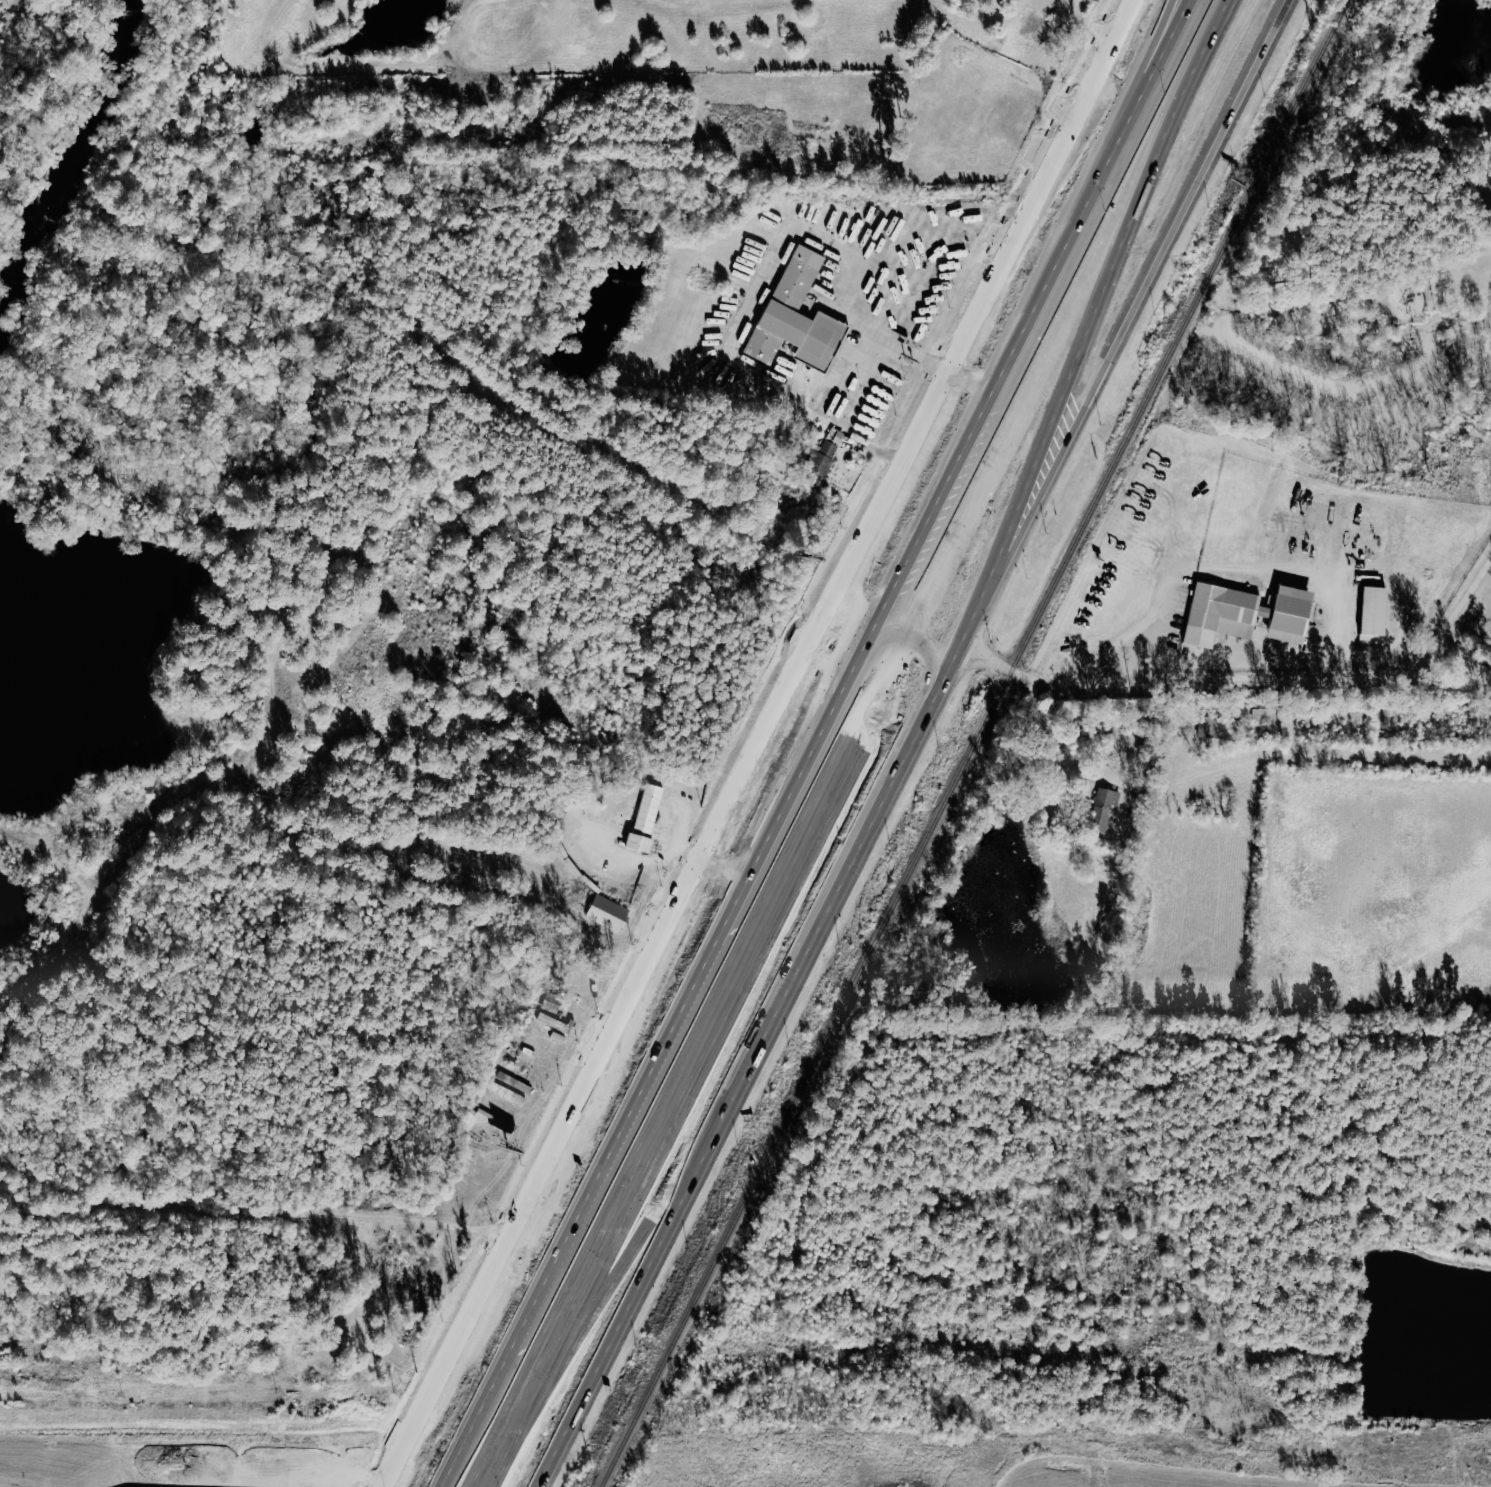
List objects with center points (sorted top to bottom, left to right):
road: (1168, 7)
road: (1170, 7)
road: (1092, 106)
road: (1103, 112)
road: (874, 265)
river: (240, 300)
building: (799, 316)
road: (1090, 321)
road: (1131, 325)
building: (823, 459)
building: (1376, 613)
building: (1225, 614)
building: (1293, 614)
road: (993, 661)
road: (1268, 677)
road: (778, 723)
railway: (975, 743)
road: (1053, 748)
building: (1106, 808)
building: (648, 819)
building: (610, 913)
road: (748, 1065)
building: (508, 1092)
road: (356, 1215)
road: (454, 1361)

